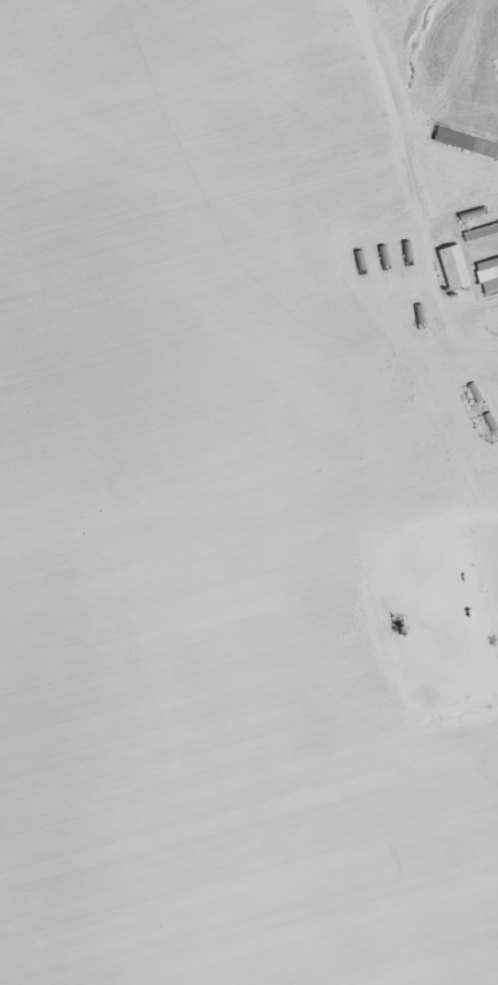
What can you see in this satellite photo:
building: (465, 143)
building: (481, 232)
building: (454, 267)
building: (488, 274)

